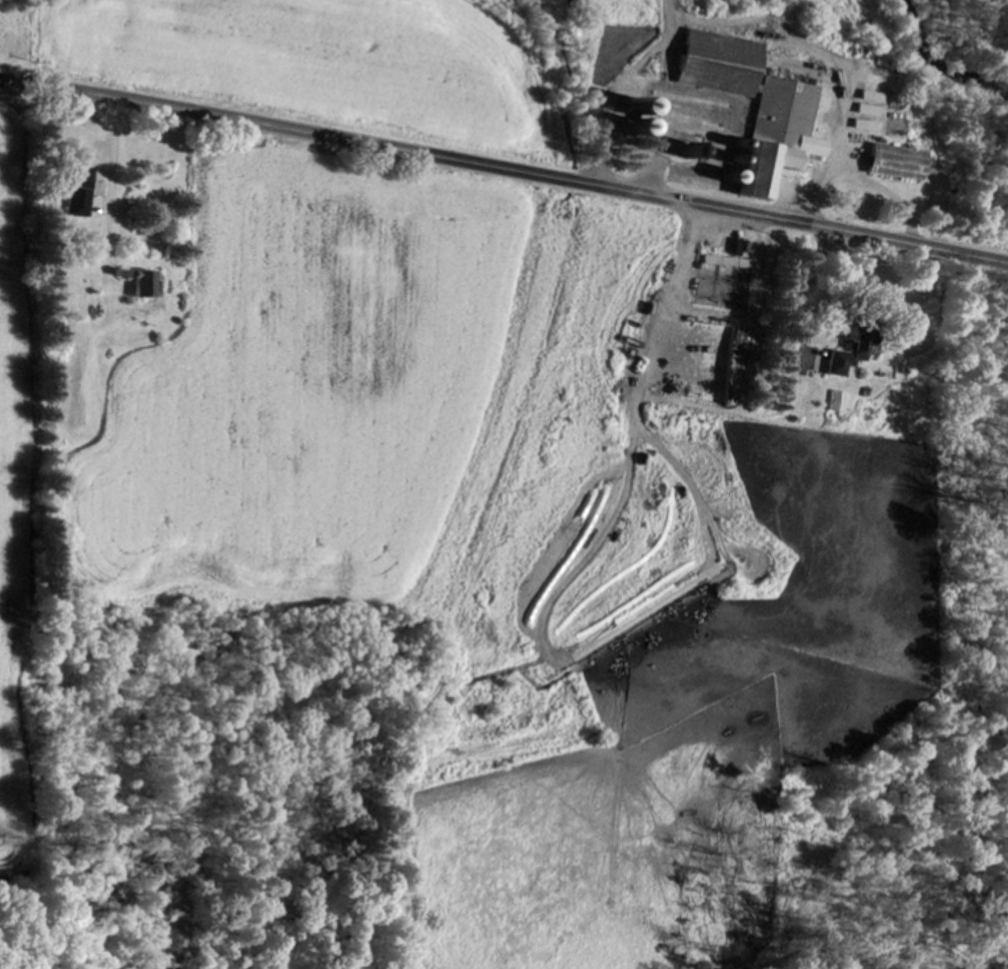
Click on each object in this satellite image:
building: (756, 106)
building: (643, 122)
building: (898, 162)
road: (504, 169)
building: (81, 191)
building: (721, 261)
building: (146, 284)
building: (850, 352)
building: (492, 963)

